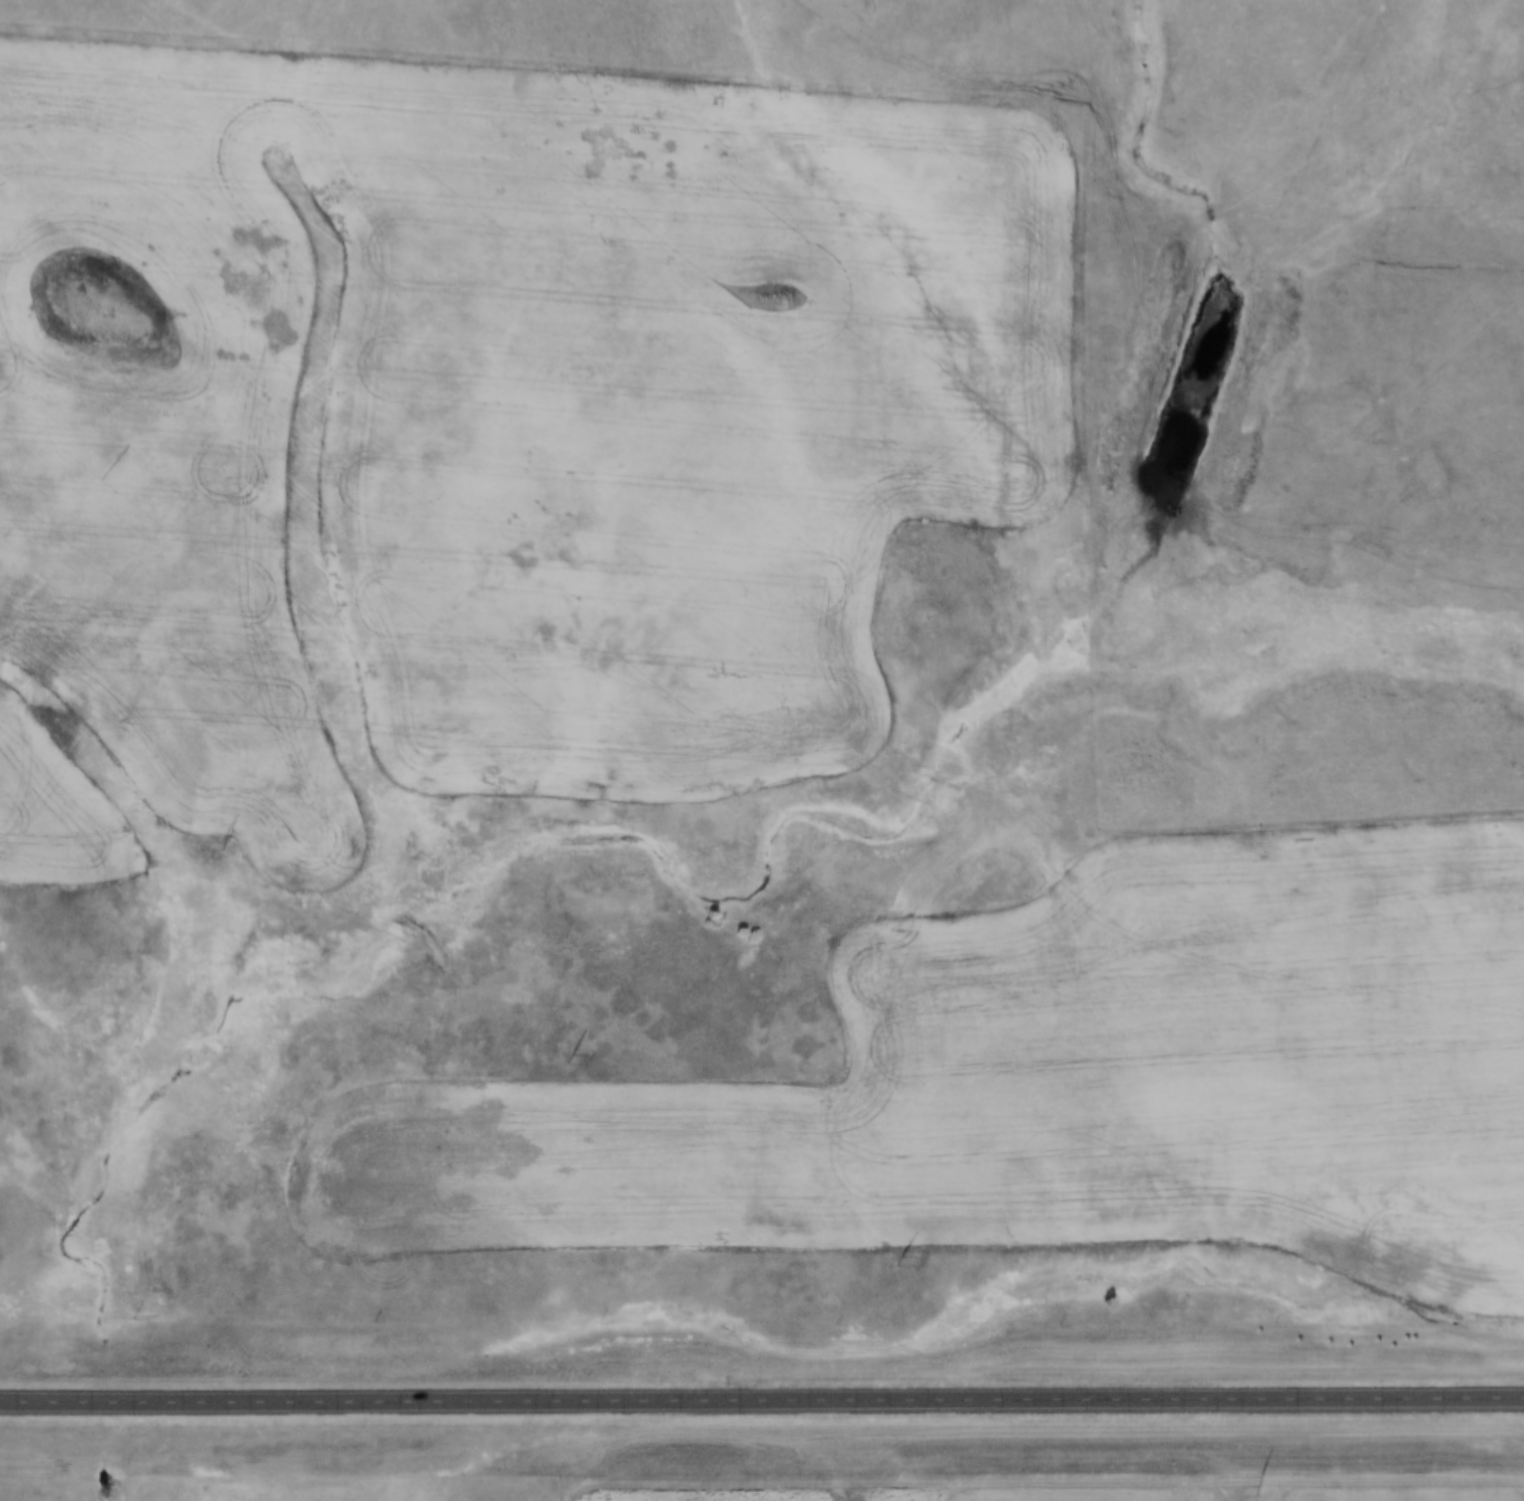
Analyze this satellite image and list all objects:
road: (761, 1406)

